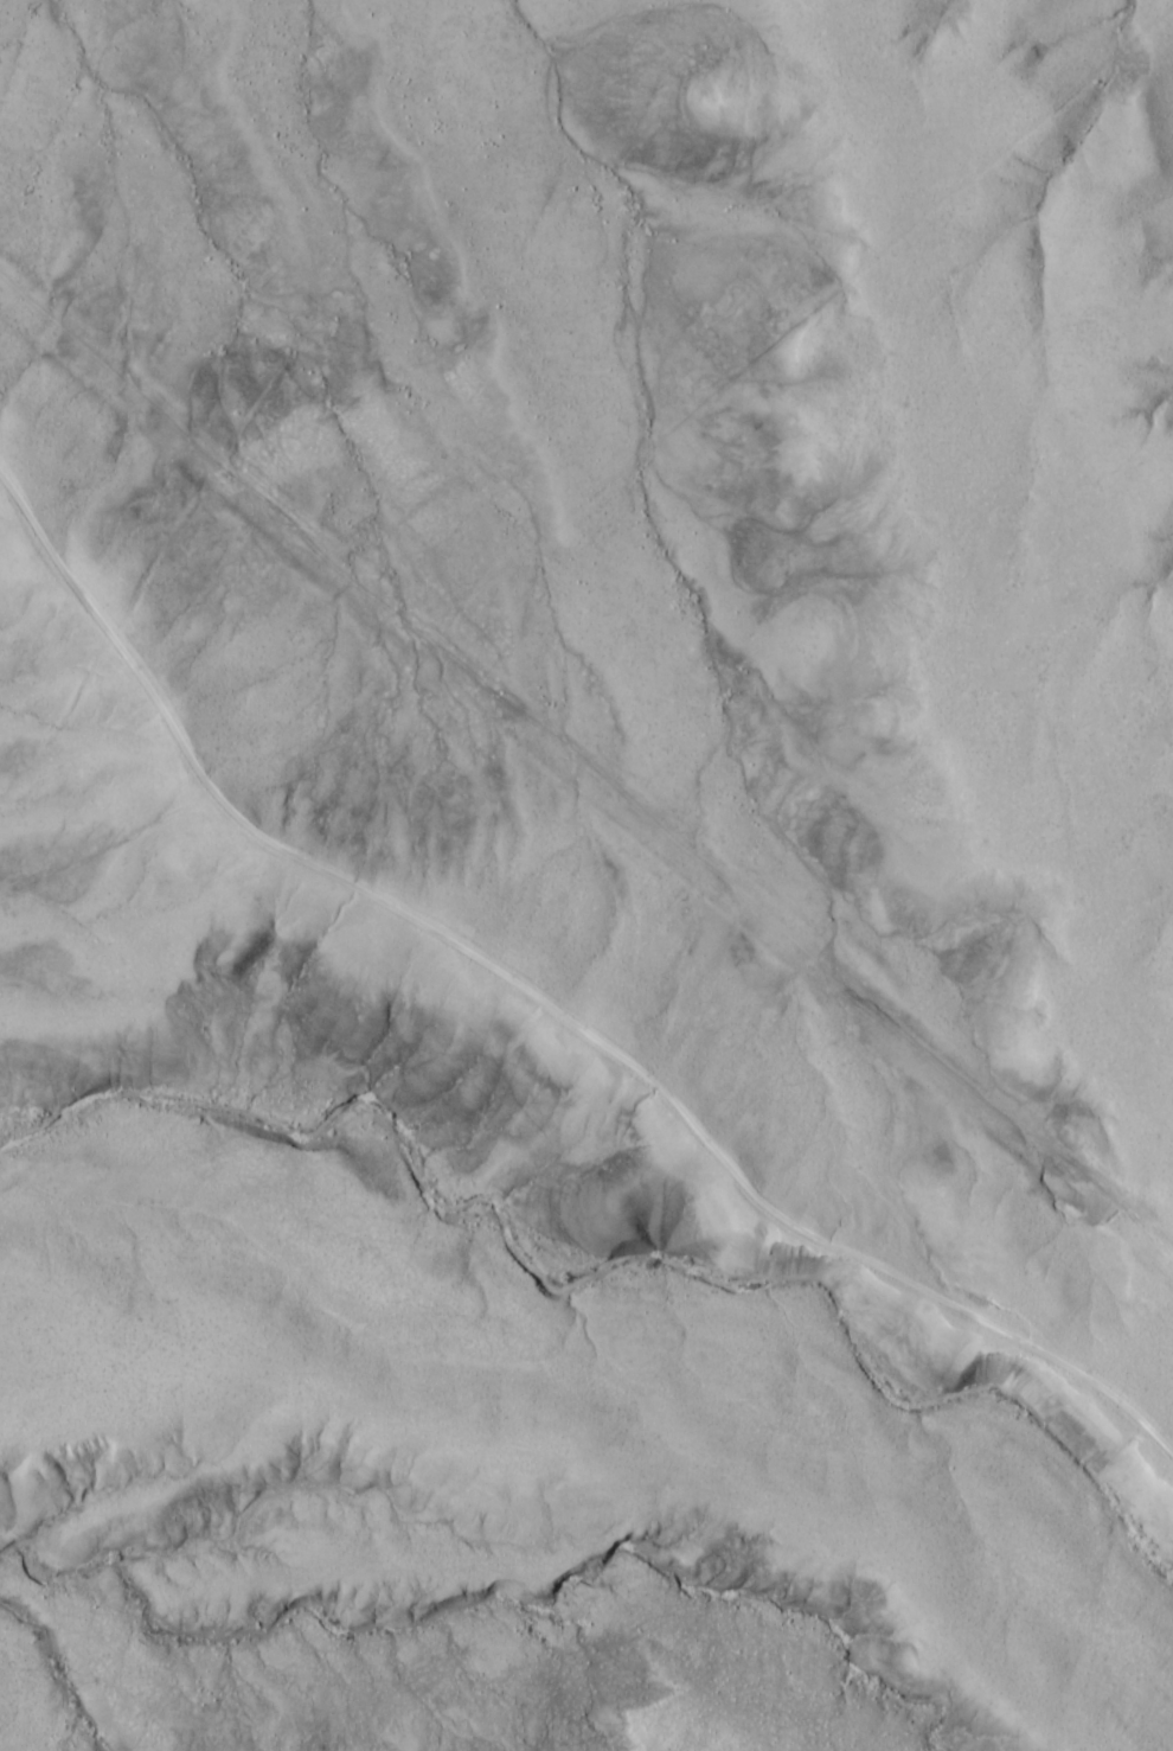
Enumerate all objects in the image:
road: (140, 881)
road: (549, 1005)

